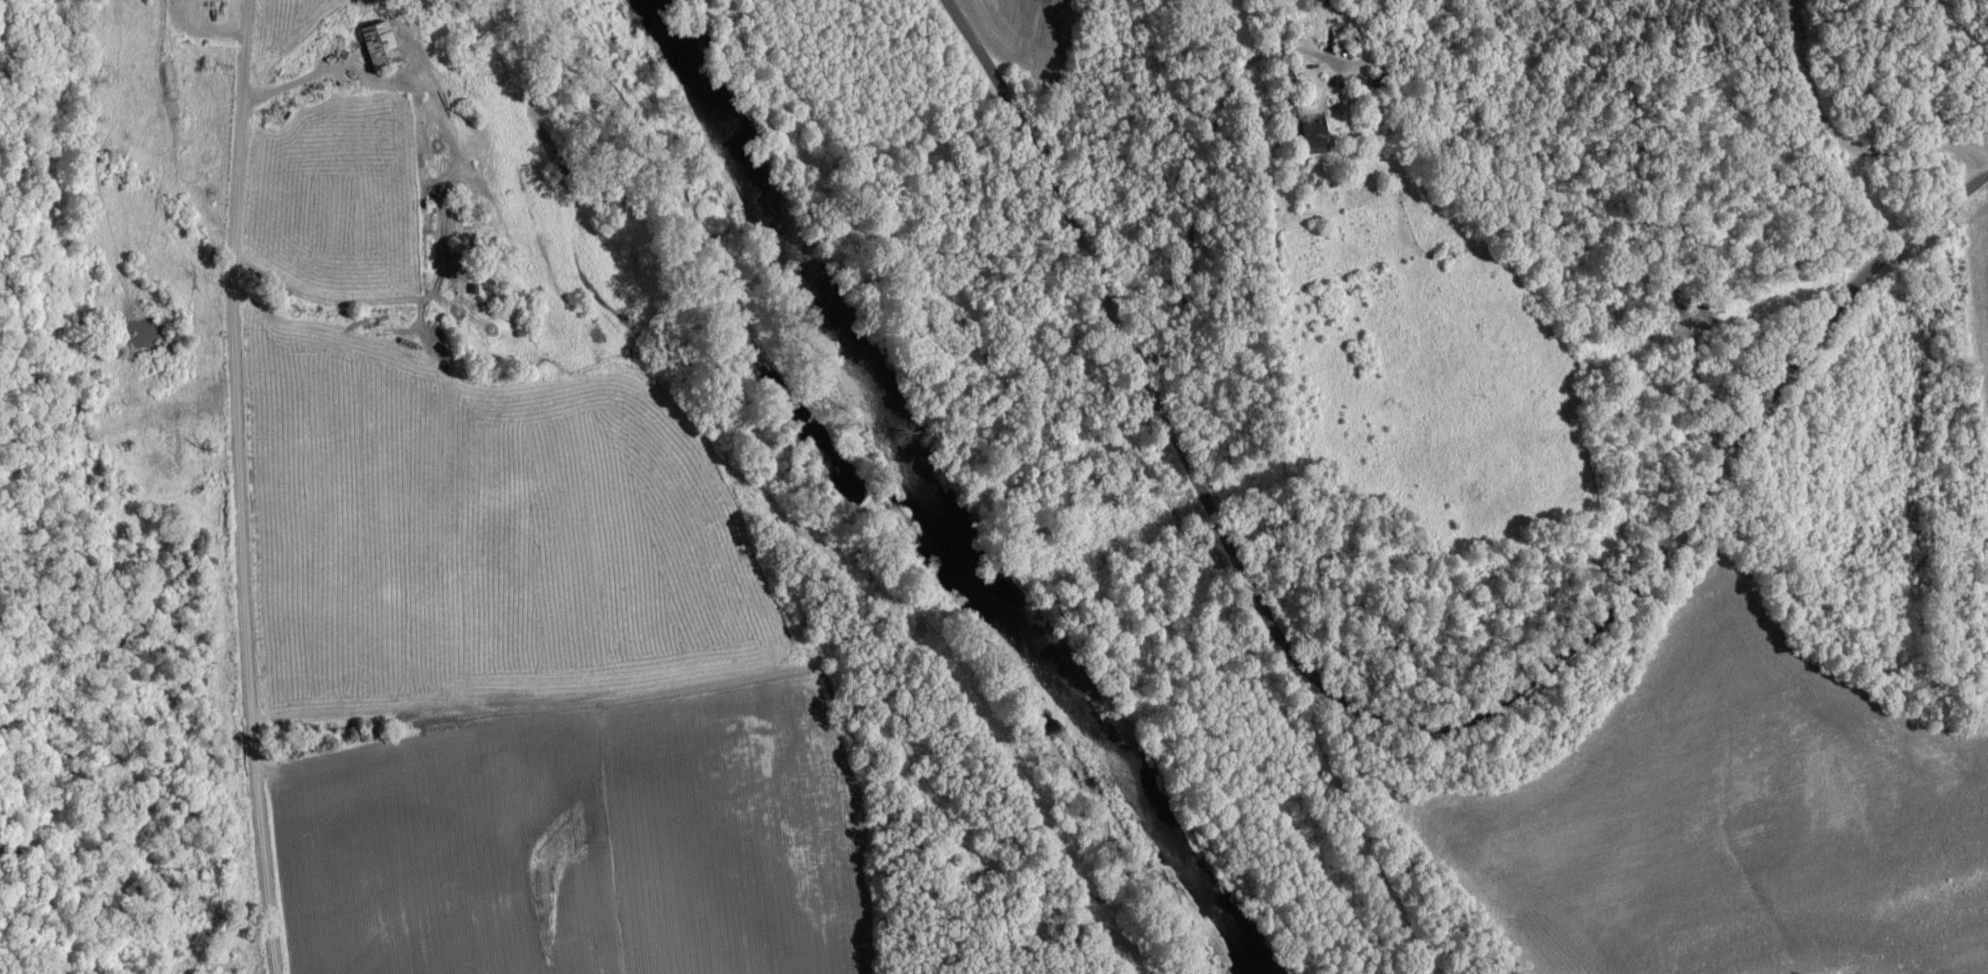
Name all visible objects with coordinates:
crop: (1022, 34)
building: (381, 46)
road: (302, 81)
road: (1840, 139)
road: (1211, 169)
crop: (1982, 315)
road: (242, 487)
river: (934, 490)
crop: (498, 601)
road: (1385, 714)
crop: (1730, 818)

